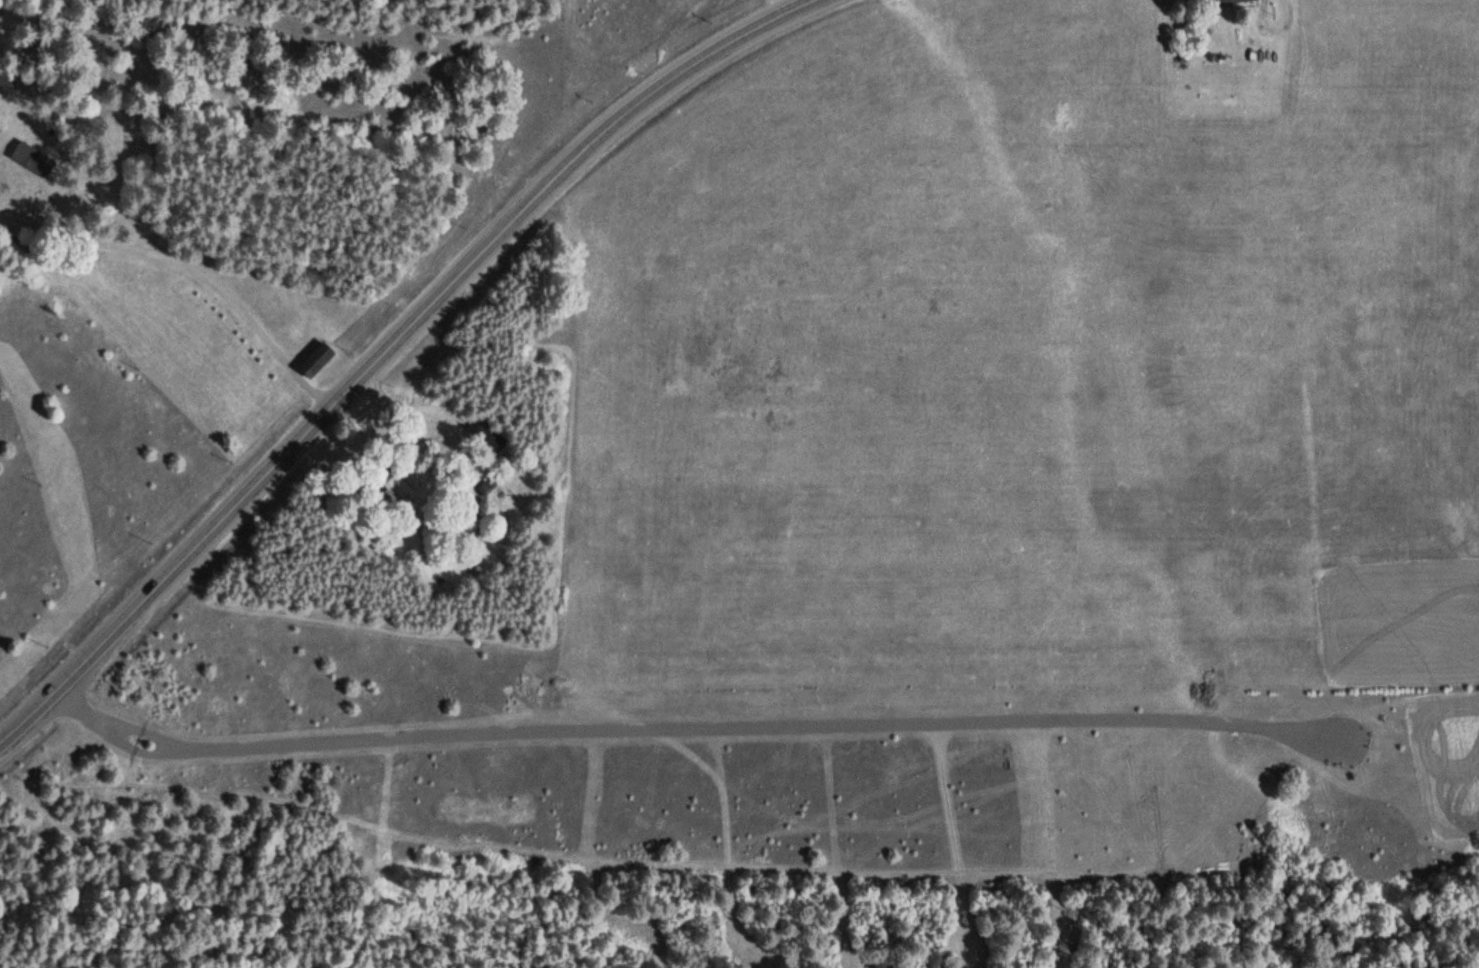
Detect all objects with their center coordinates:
building: (1222, 2)
building: (6, 78)
building: (27, 157)
road: (190, 263)
road: (387, 347)
building: (314, 360)
building: (486, 438)
building: (400, 481)
building: (486, 486)
road: (75, 702)
road: (766, 726)
road: (144, 730)
road: (138, 750)

